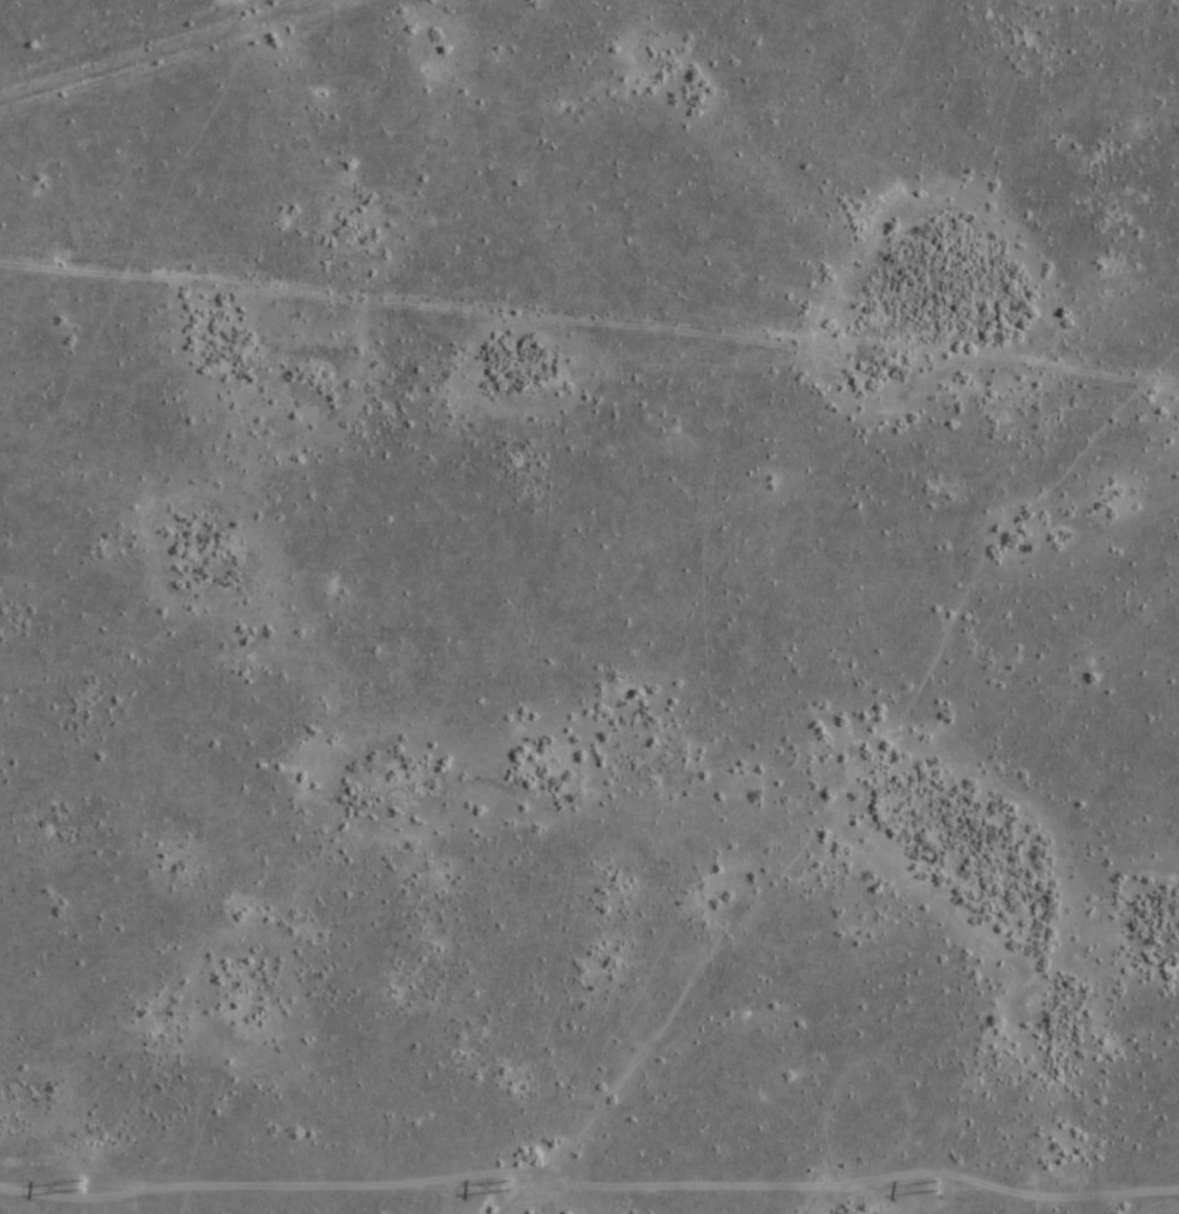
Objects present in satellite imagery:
power tower: (79, 1183)
power tower: (507, 1184)
power tower: (936, 1185)

